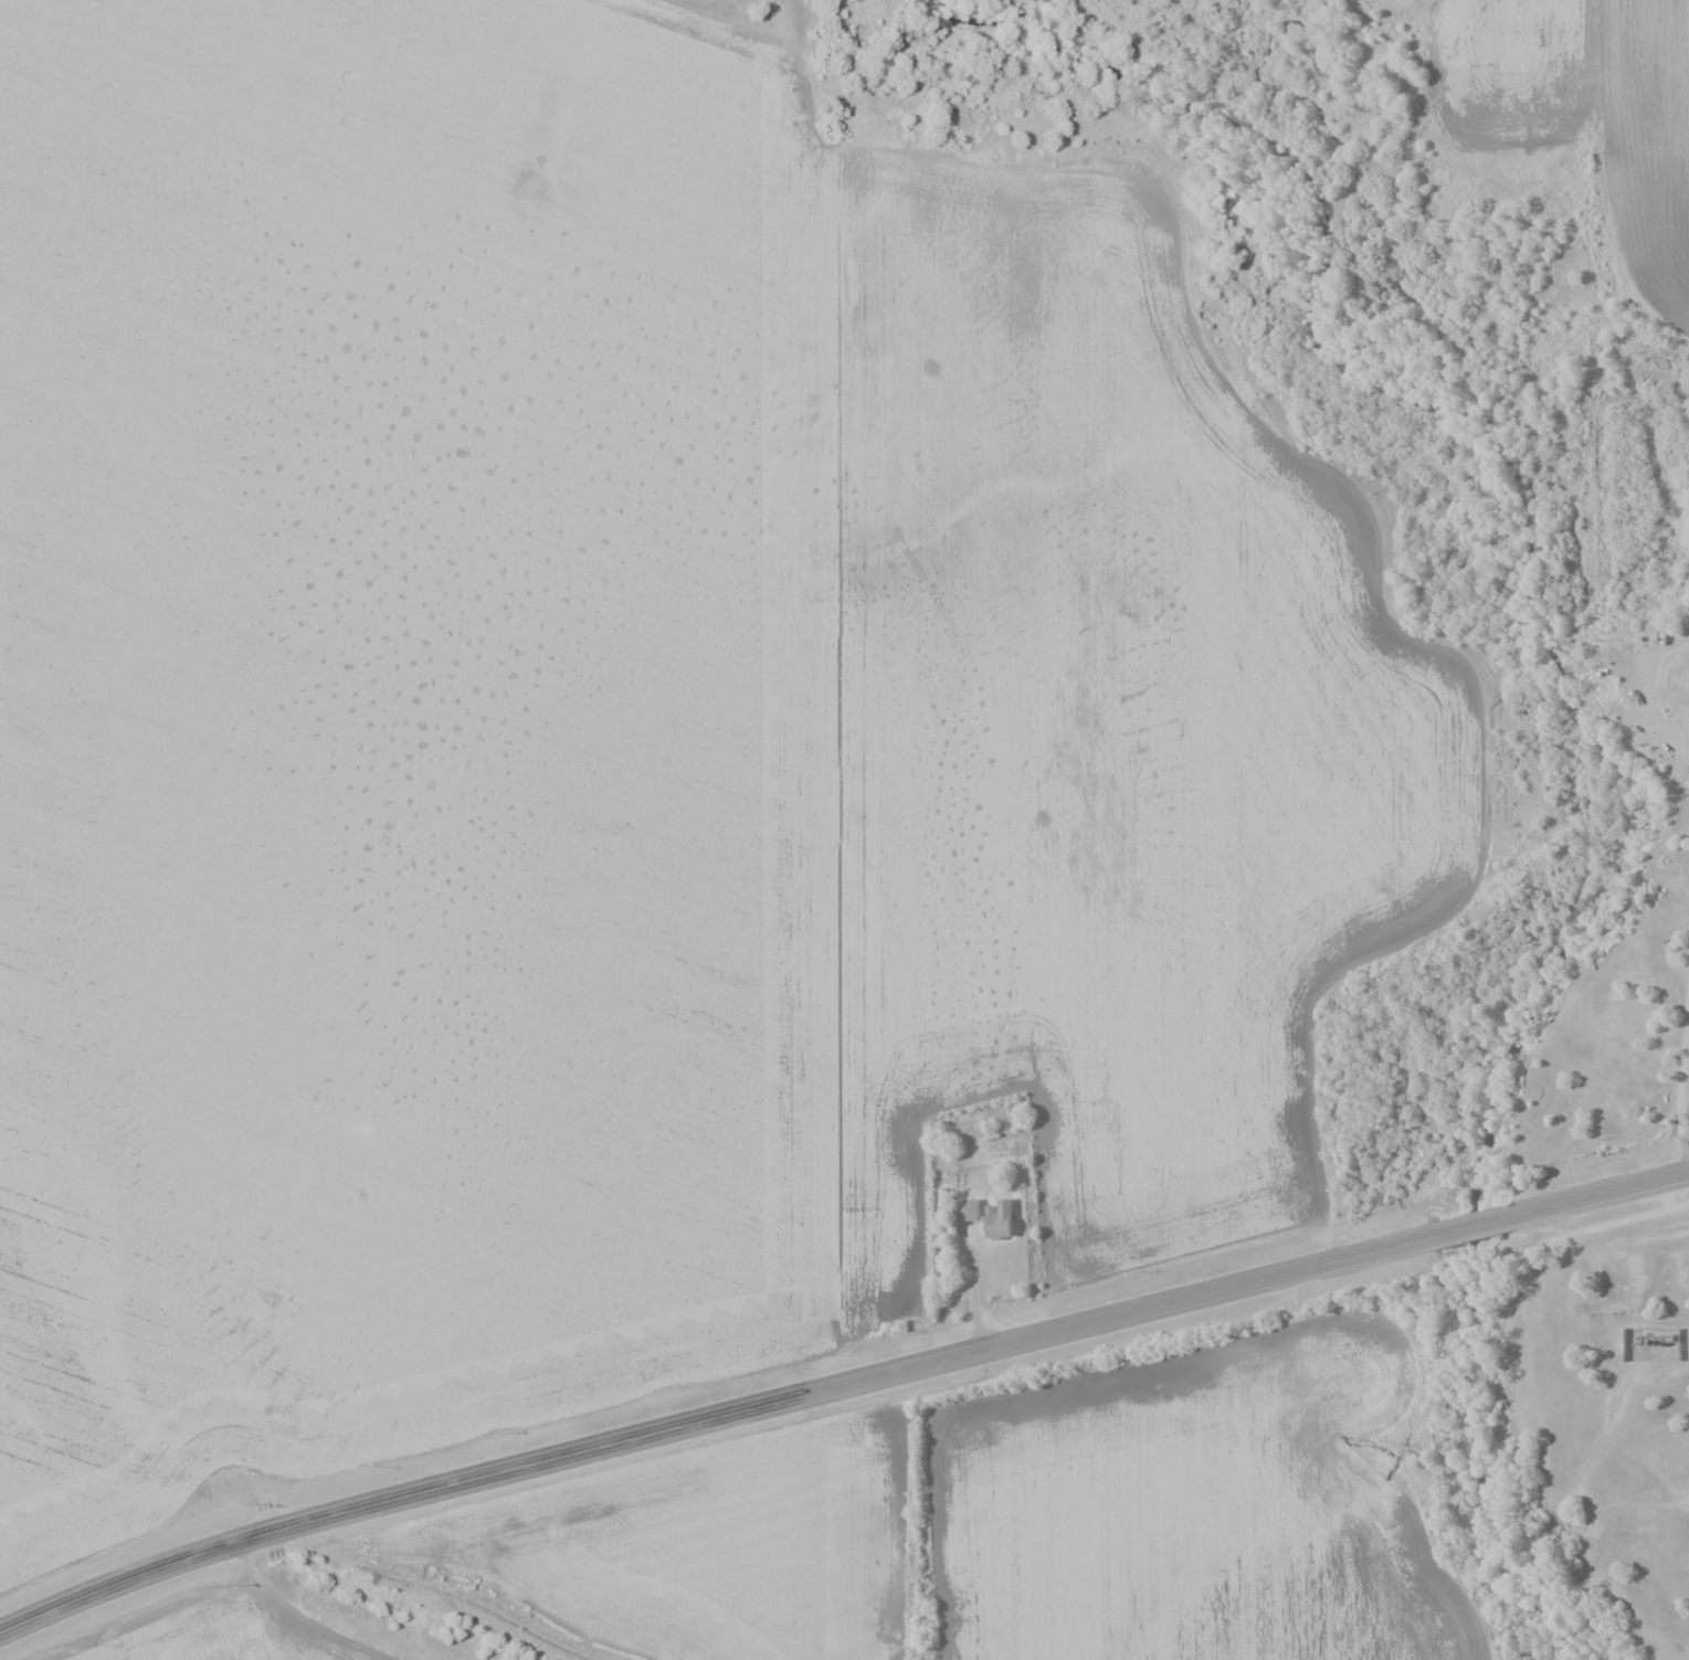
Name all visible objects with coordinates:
road: (1598, 1190)
building: (969, 1209)
building: (1002, 1222)
road: (1467, 1223)
building: (949, 1229)
road: (708, 1416)

